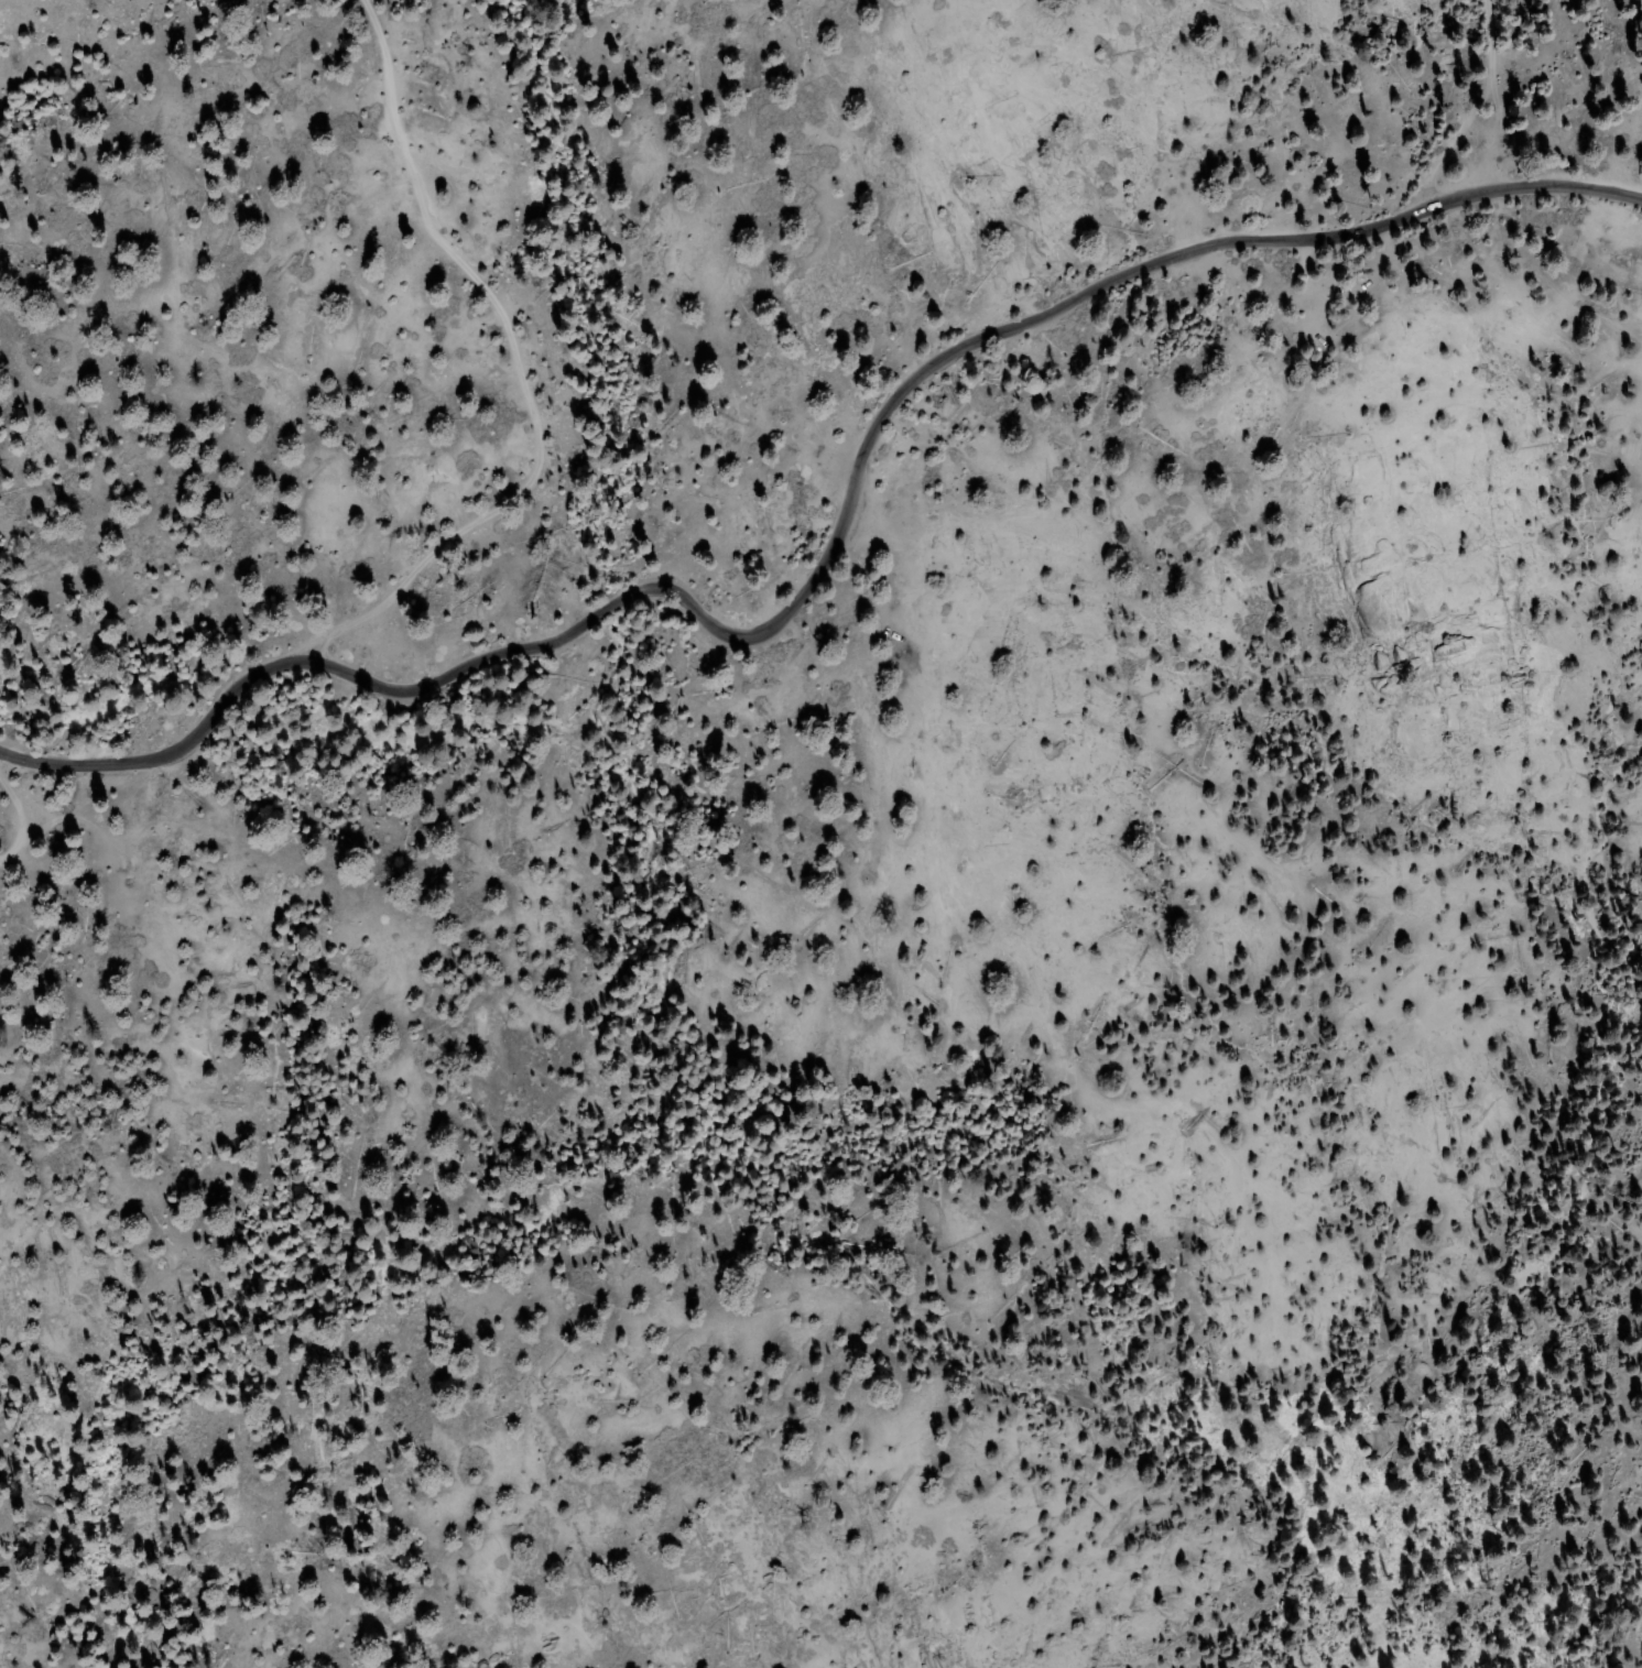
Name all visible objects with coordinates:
road: (521, 389)
road: (833, 546)
road: (14, 817)

